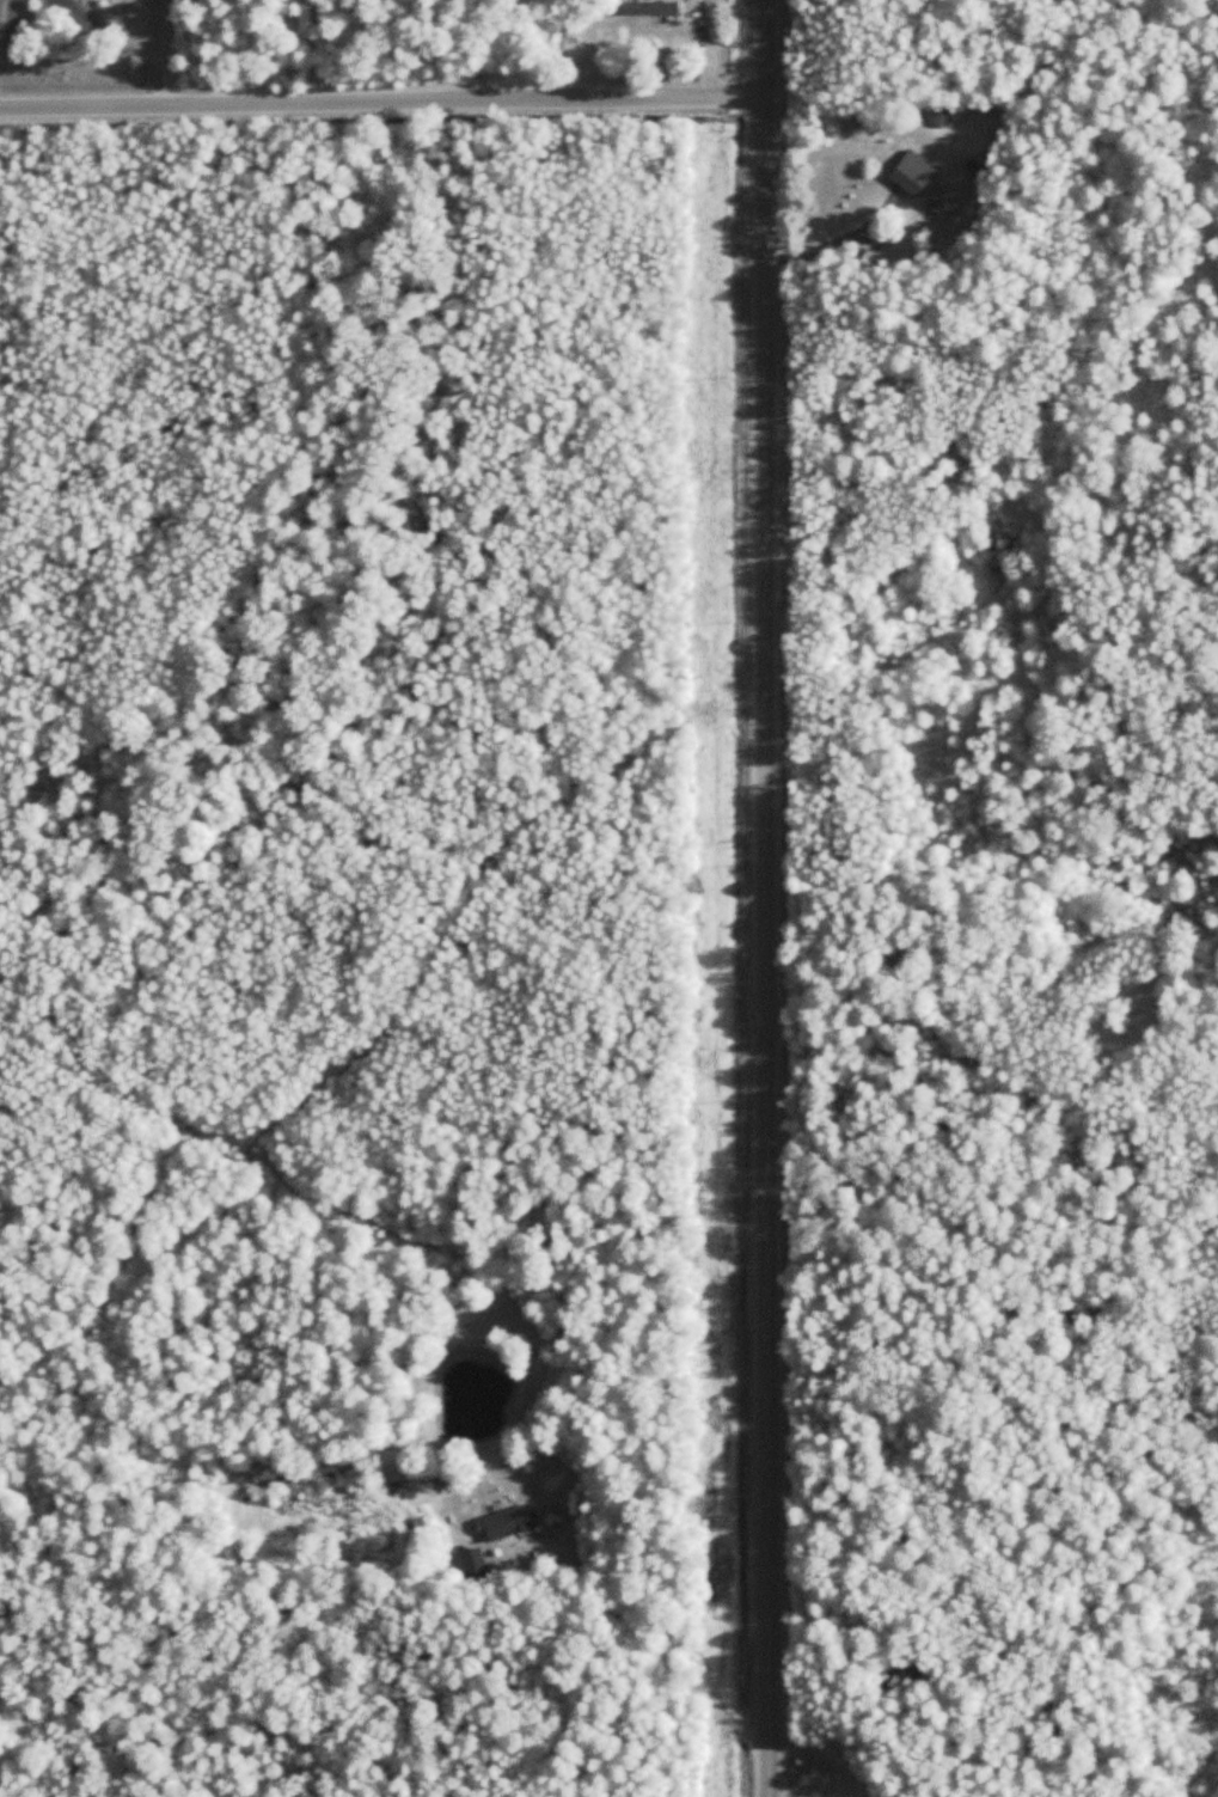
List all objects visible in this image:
building: (650, 7)
road: (170, 51)
road: (380, 99)
building: (910, 179)
building: (942, 204)
road: (836, 243)
road: (757, 898)
building: (397, 1466)
building: (507, 1523)
building: (470, 1566)
road: (650, 1649)

